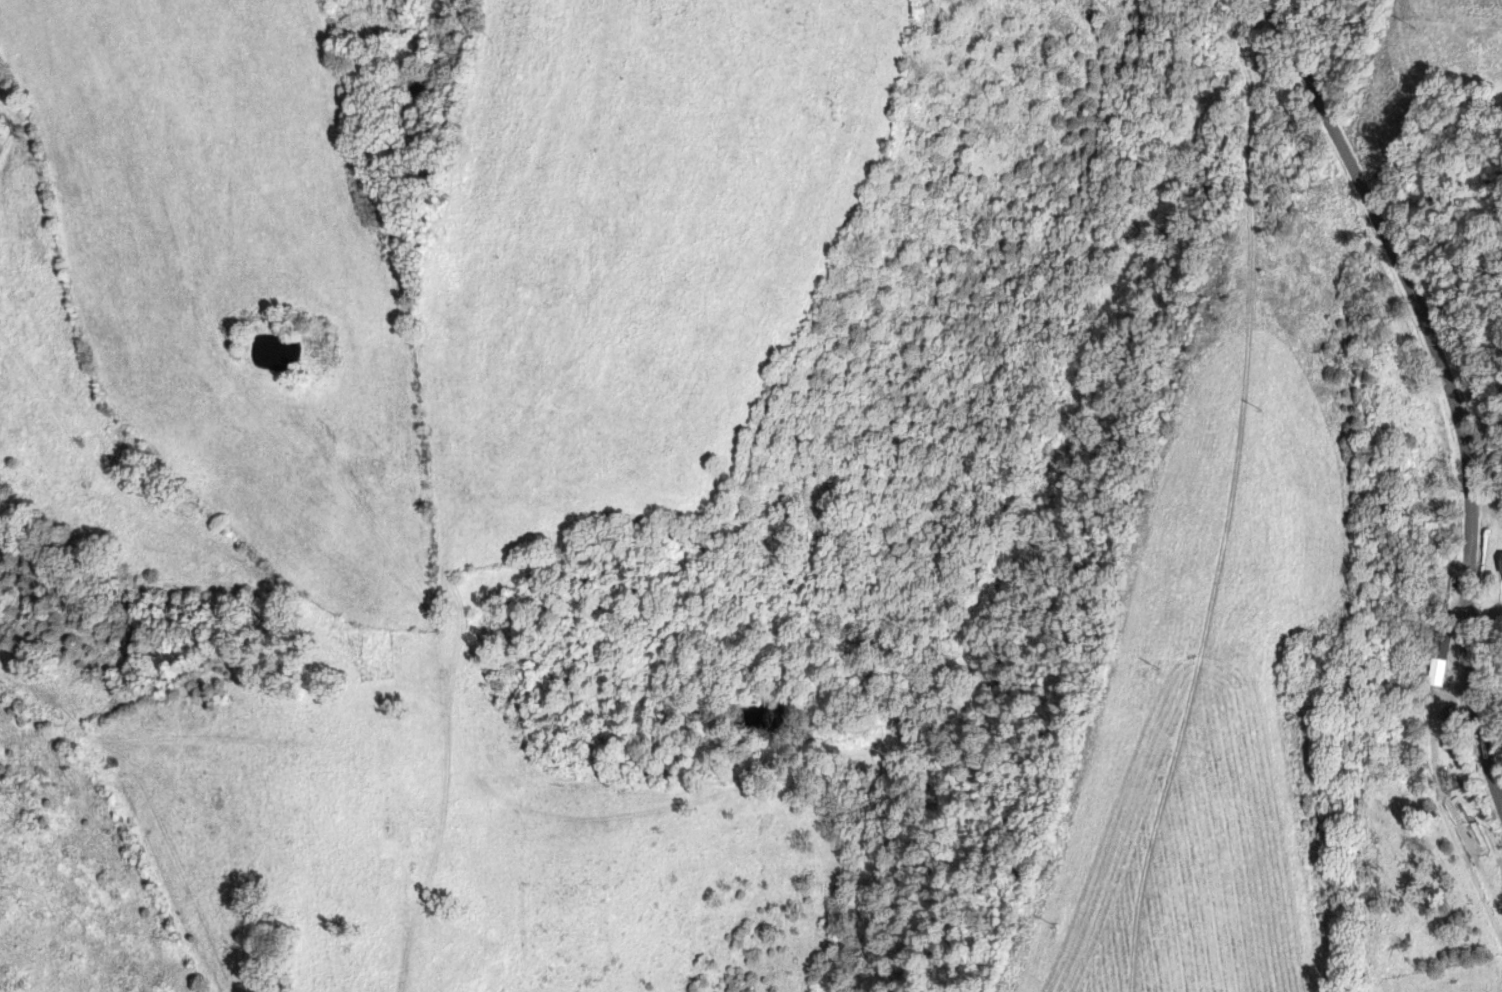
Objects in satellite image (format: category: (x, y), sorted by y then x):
road: (1087, 361)
road: (1453, 385)
building: (1499, 566)
road: (1440, 670)
road: (135, 807)

